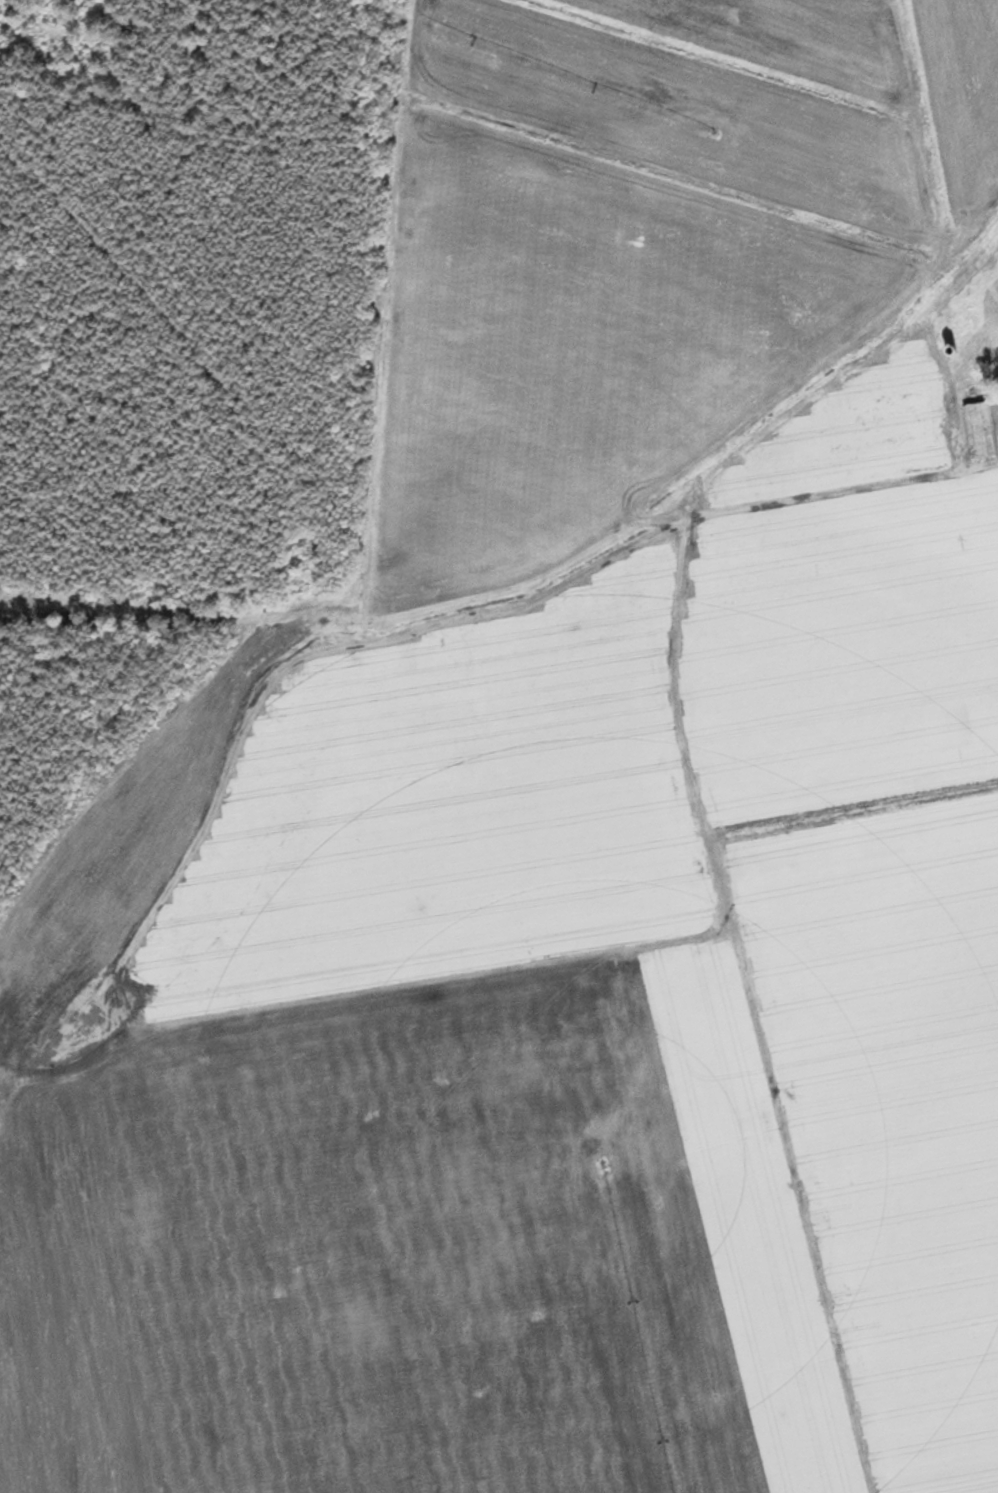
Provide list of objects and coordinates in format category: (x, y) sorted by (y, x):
building: (946, 321)
building: (981, 430)

